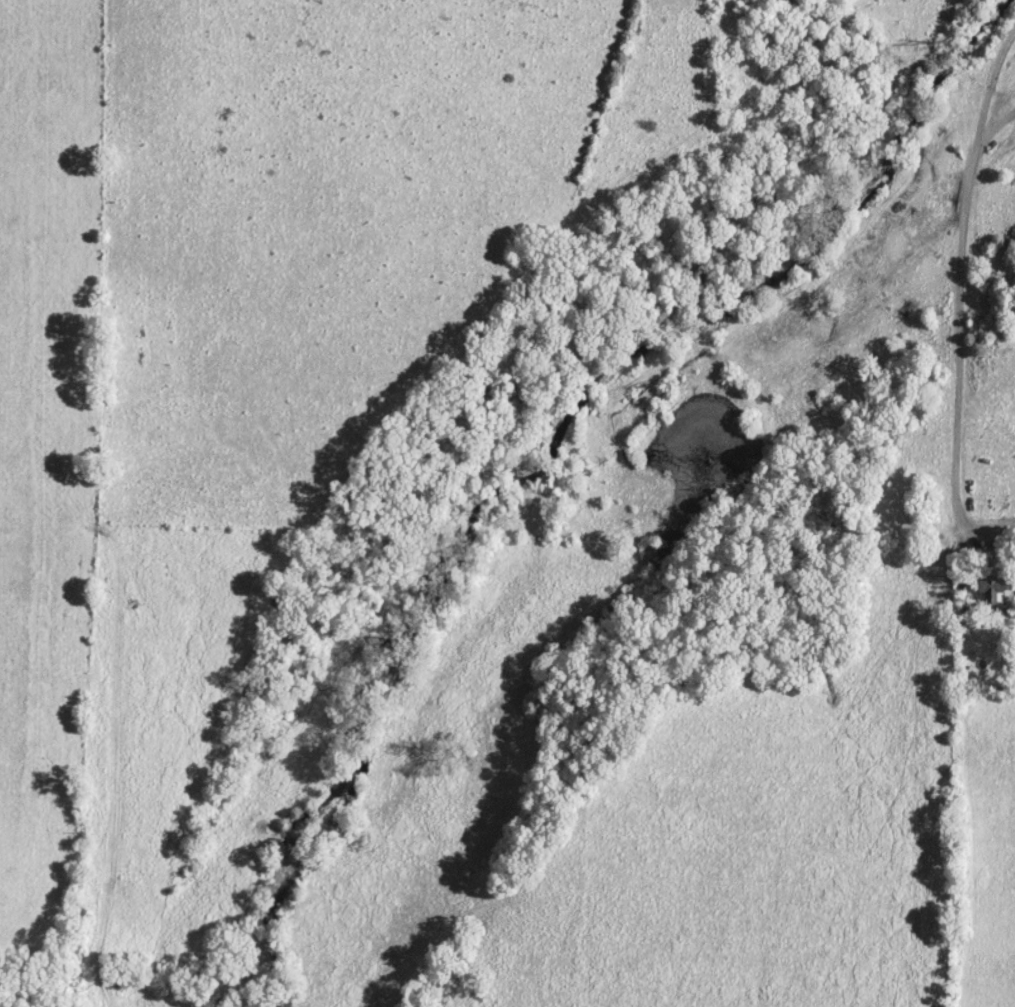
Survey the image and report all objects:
road: (980, 157)
road: (957, 298)
building: (989, 591)

